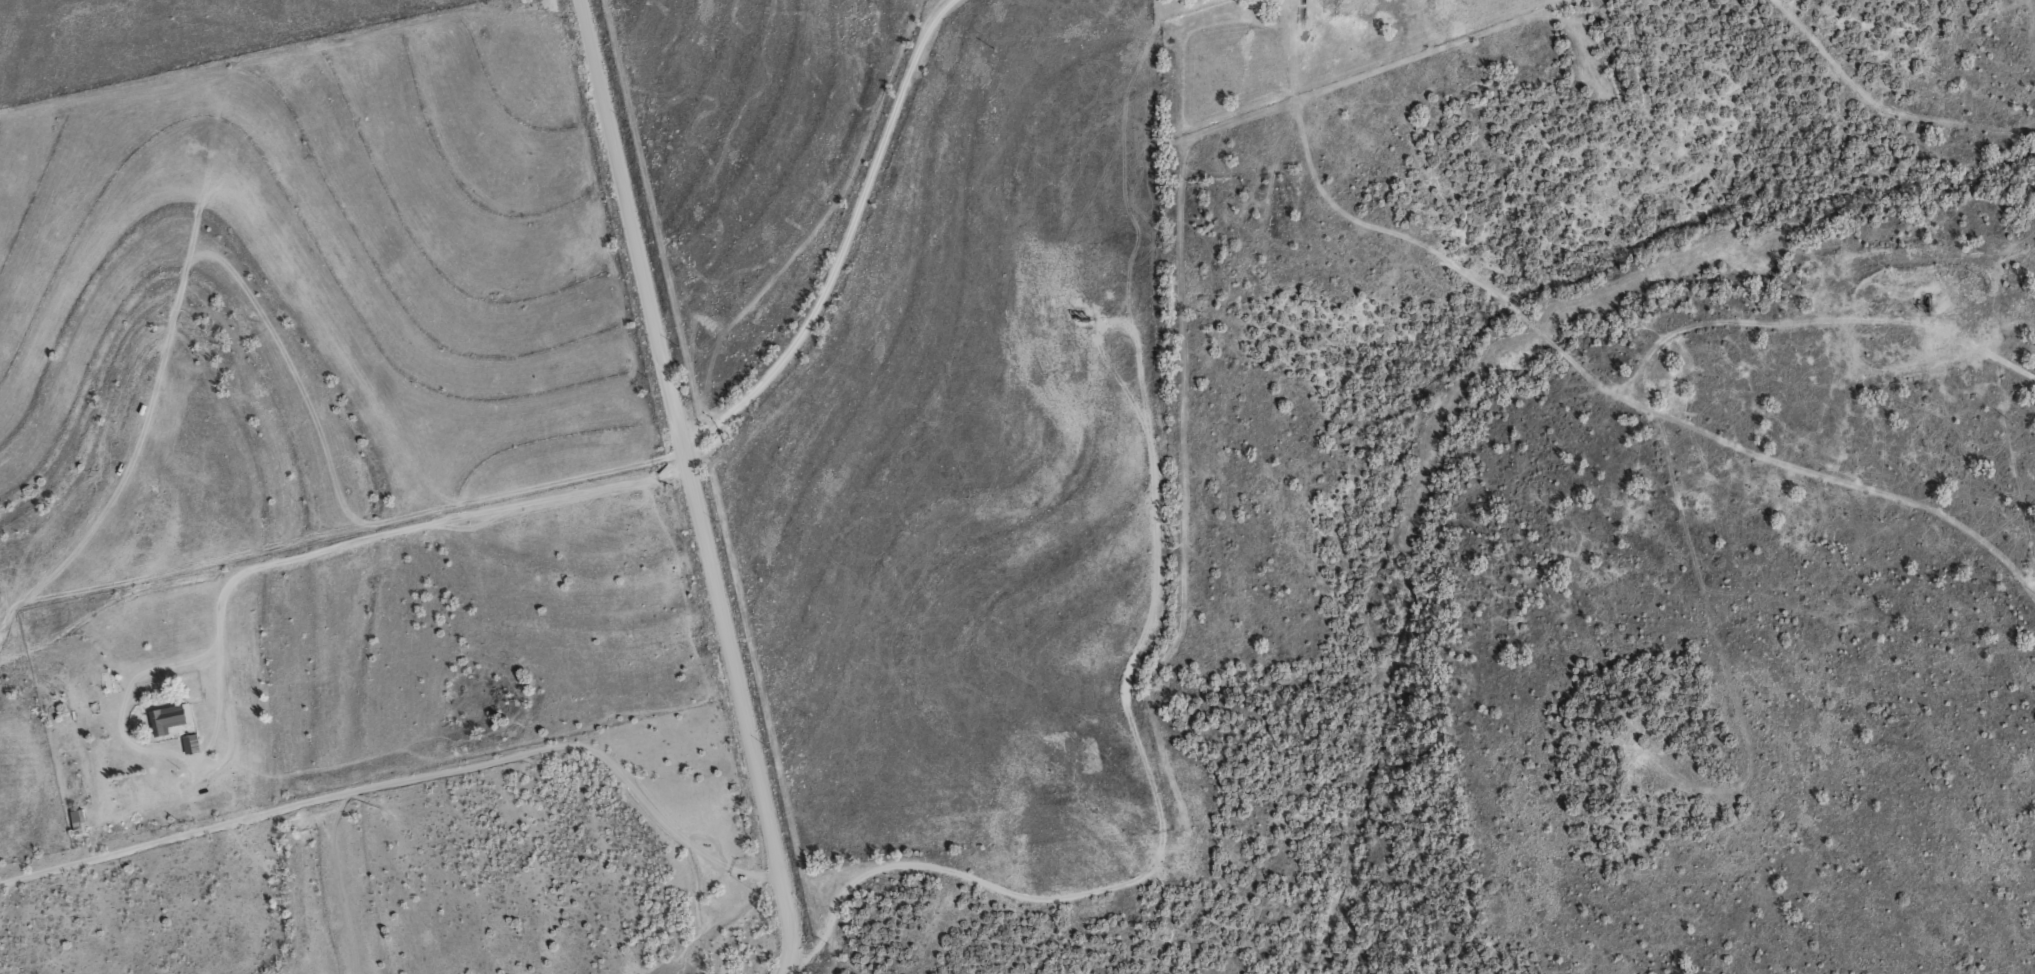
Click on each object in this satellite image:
road: (846, 242)
road: (691, 479)
building: (168, 717)
building: (190, 743)
building: (78, 821)
road: (829, 963)
road: (785, 967)

